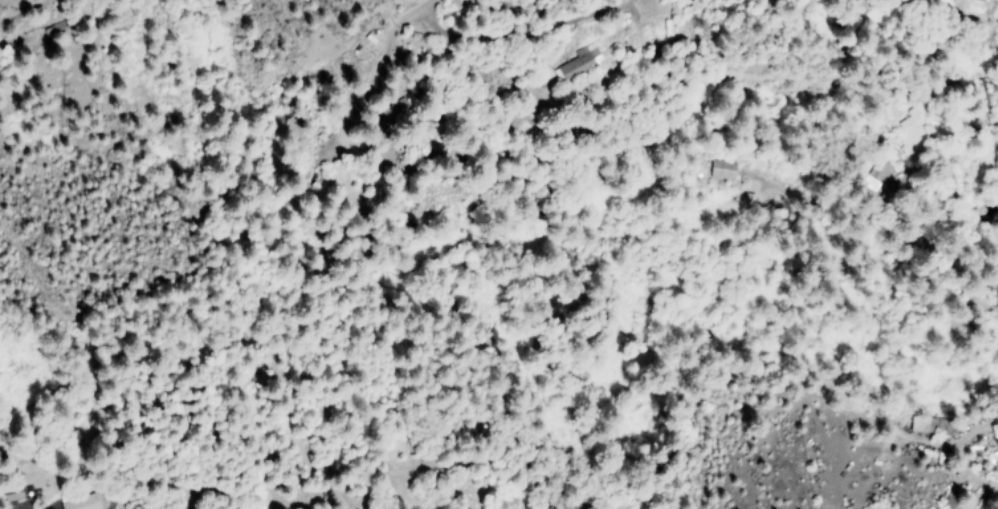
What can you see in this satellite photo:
building: (982, 0)
building: (991, 9)
road: (459, 36)
building: (580, 61)
building: (910, 131)
building: (721, 169)
building: (876, 174)
road: (964, 268)
building: (915, 427)
building: (79, 503)

